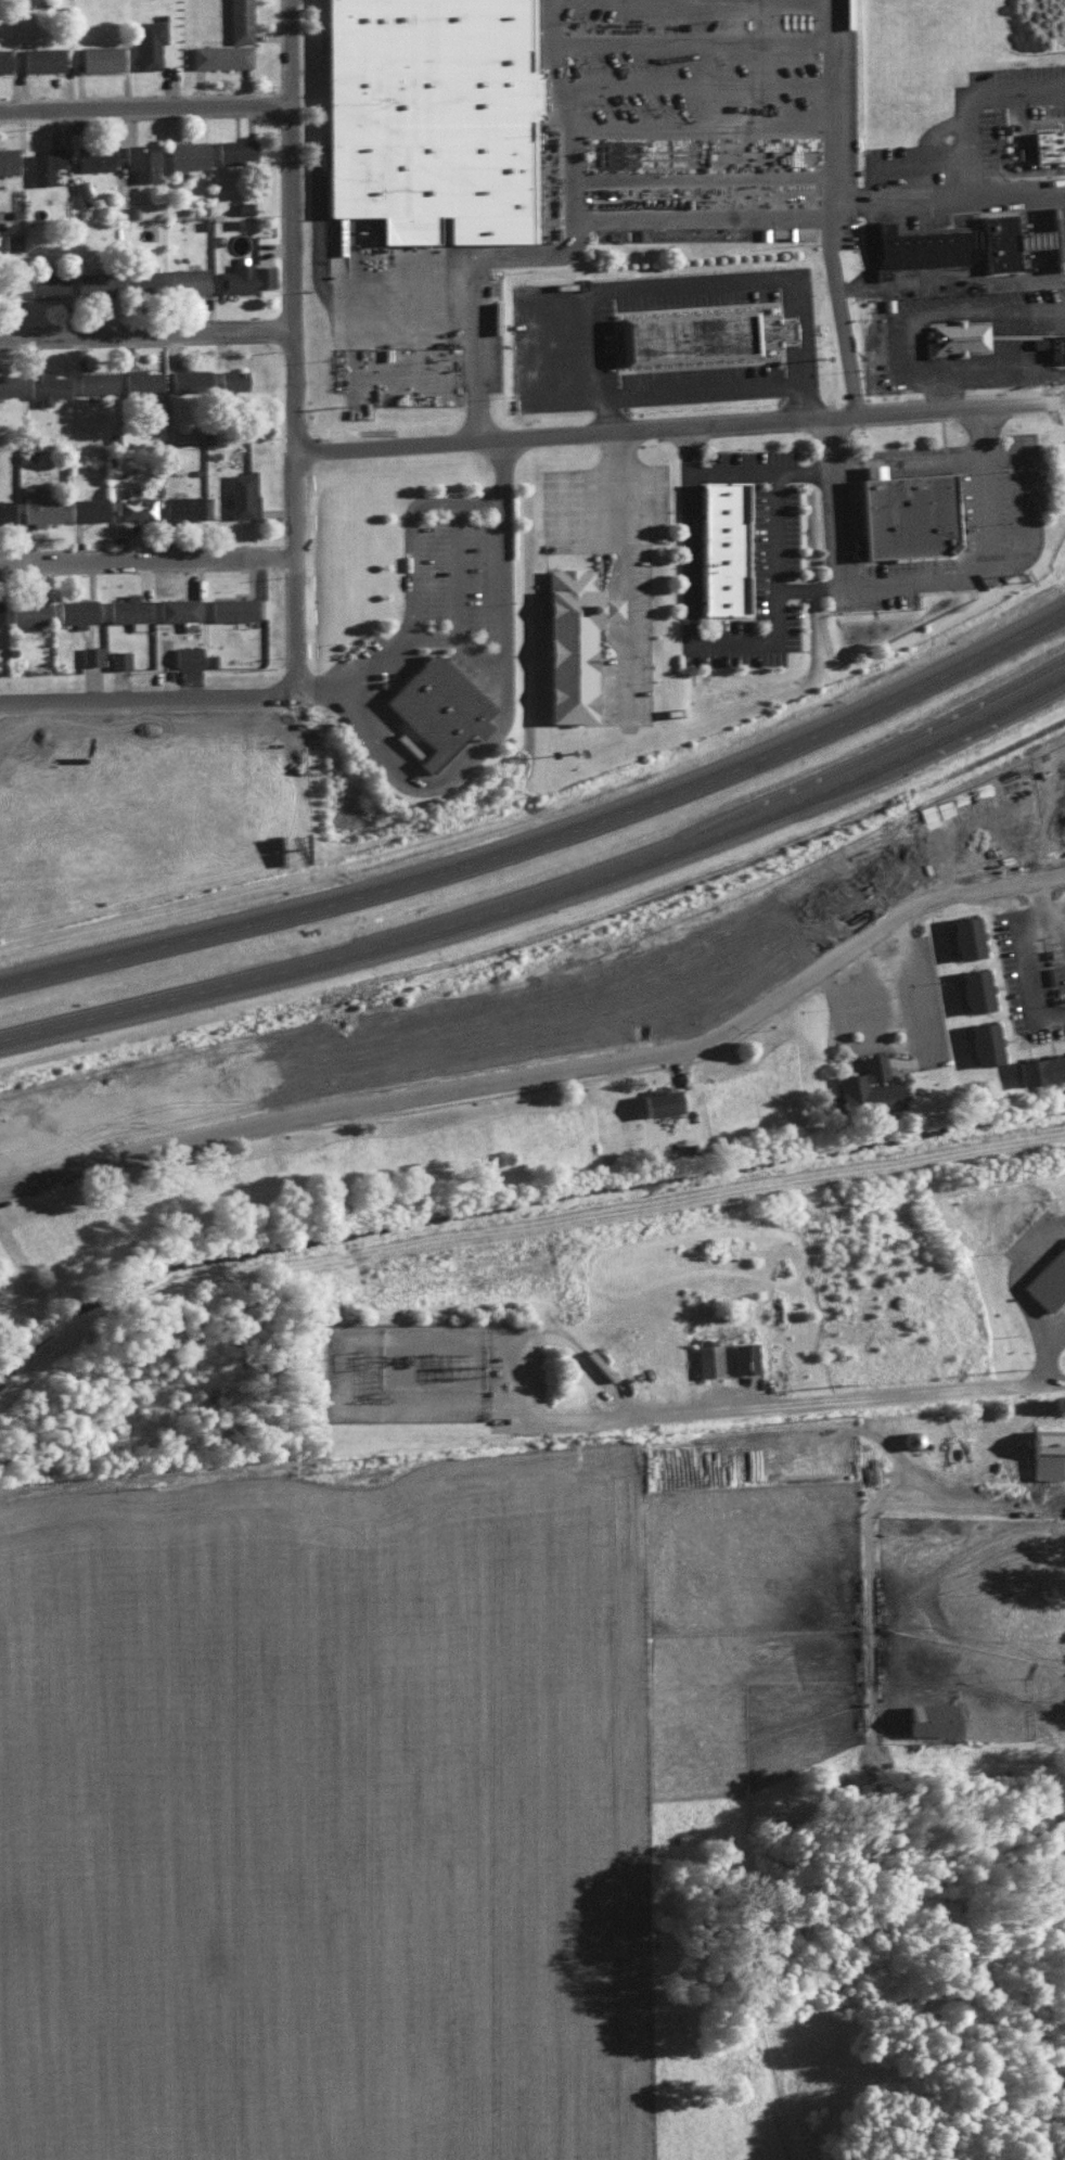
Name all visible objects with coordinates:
road: (672, 2)
building: (238, 20)
building: (147, 41)
road: (696, 44)
building: (219, 54)
road: (301, 55)
building: (100, 56)
building: (41, 57)
building: (3, 59)
road: (702, 90)
road: (983, 107)
road: (151, 113)
building: (445, 115)
parking lot: (704, 117)
road: (707, 132)
building: (1054, 144)
building: (234, 149)
building: (183, 154)
building: (91, 155)
building: (7, 158)
road: (1011, 158)
building: (139, 161)
building: (43, 163)
road: (933, 169)
building: (80, 191)
road: (832, 207)
road: (710, 215)
gas station: (1048, 237)
building: (9, 240)
road: (885, 244)
building: (1010, 244)
gas station: (1010, 244)
building: (916, 245)
building: (138, 276)
building: (243, 276)
building: (185, 279)
building: (90, 281)
road: (950, 282)
building: (44, 283)
road: (473, 284)
building: (8, 285)
road: (652, 291)
road: (363, 296)
building: (690, 332)
road: (801, 334)
building: (957, 334)
road: (151, 336)
building: (1050, 344)
road: (927, 347)
building: (188, 378)
building: (230, 378)
building: (92, 380)
building: (140, 380)
building: (8, 383)
building: (43, 384)
road: (953, 389)
road: (710, 395)
road: (304, 396)
road: (844, 412)
road: (658, 424)
road: (462, 438)
road: (912, 465)
road: (514, 469)
road: (809, 476)
building: (241, 493)
building: (36, 504)
road: (463, 504)
building: (181, 506)
building: (87, 508)
building: (131, 508)
building: (921, 509)
building: (4, 510)
building: (736, 548)
road: (152, 563)
road: (467, 572)
road: (639, 572)
road: (516, 575)
road: (423, 581)
road: (920, 583)
road: (819, 591)
building: (230, 606)
building: (176, 608)
road: (626, 608)
building: (27, 609)
building: (127, 609)
building: (75, 610)
building: (588, 642)
road: (761, 643)
road: (476, 644)
building: (89, 653)
building: (185, 655)
building: (117, 657)
road: (396, 662)
road: (336, 691)
road: (156, 705)
building: (436, 705)
road: (457, 776)
building: (1060, 787)
road: (608, 793)
road: (1056, 801)
road: (608, 828)
road: (576, 895)
road: (1049, 897)
road: (561, 934)
road: (64, 966)
road: (1032, 966)
road: (883, 981)
building: (973, 989)
road: (31, 1028)
building: (981, 1041)
road: (675, 1047)
road: (687, 1064)
building: (1039, 1068)
building: (886, 1086)
building: (675, 1101)
road: (123, 1151)
road: (1013, 1274)
building: (1045, 1280)
road: (1055, 1329)
building: (707, 1356)
building: (742, 1356)
road: (1044, 1358)
power substation: (411, 1372)
road: (856, 1395)
road: (535, 1414)
building: (355, 1415)
building: (909, 1439)
building: (1045, 1453)
building: (927, 1716)

